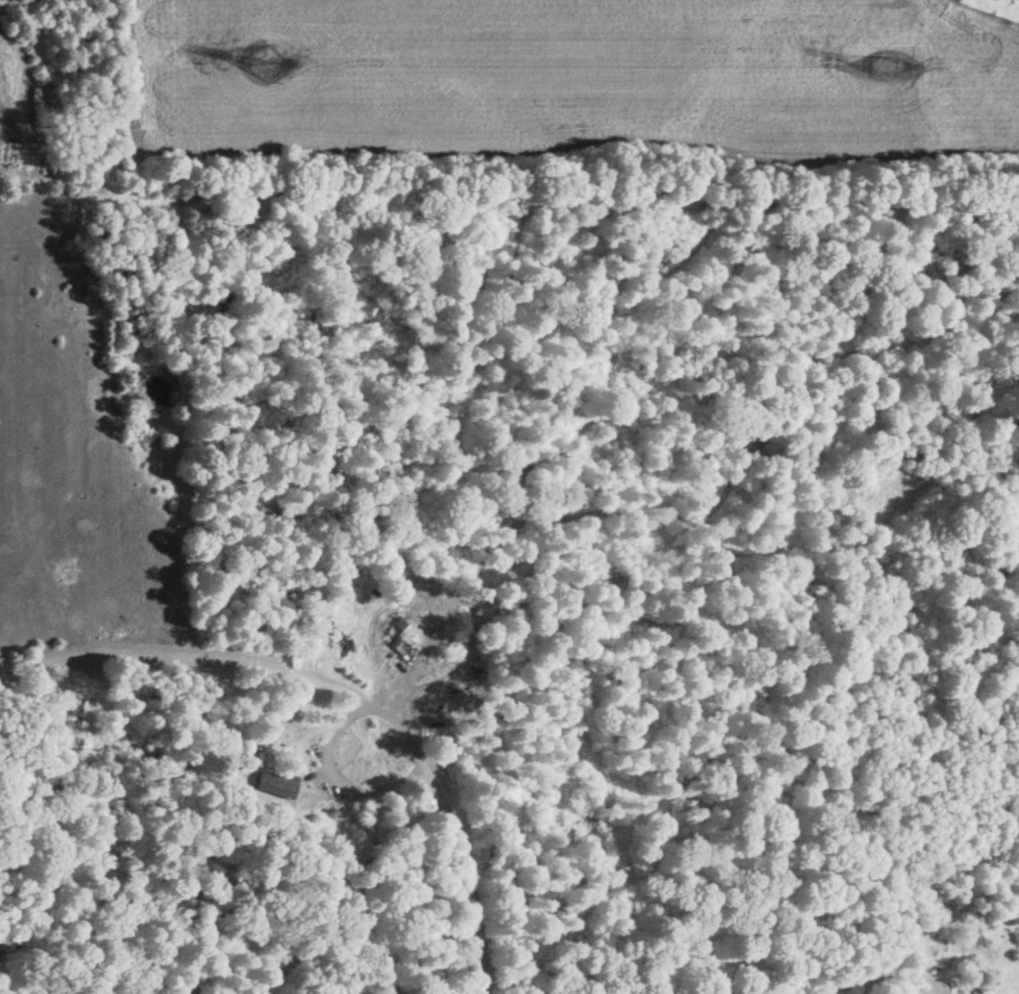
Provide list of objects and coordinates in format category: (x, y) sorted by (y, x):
power tower: (264, 57)
power tower: (884, 61)
building: (396, 637)
road: (339, 677)
building: (274, 785)

